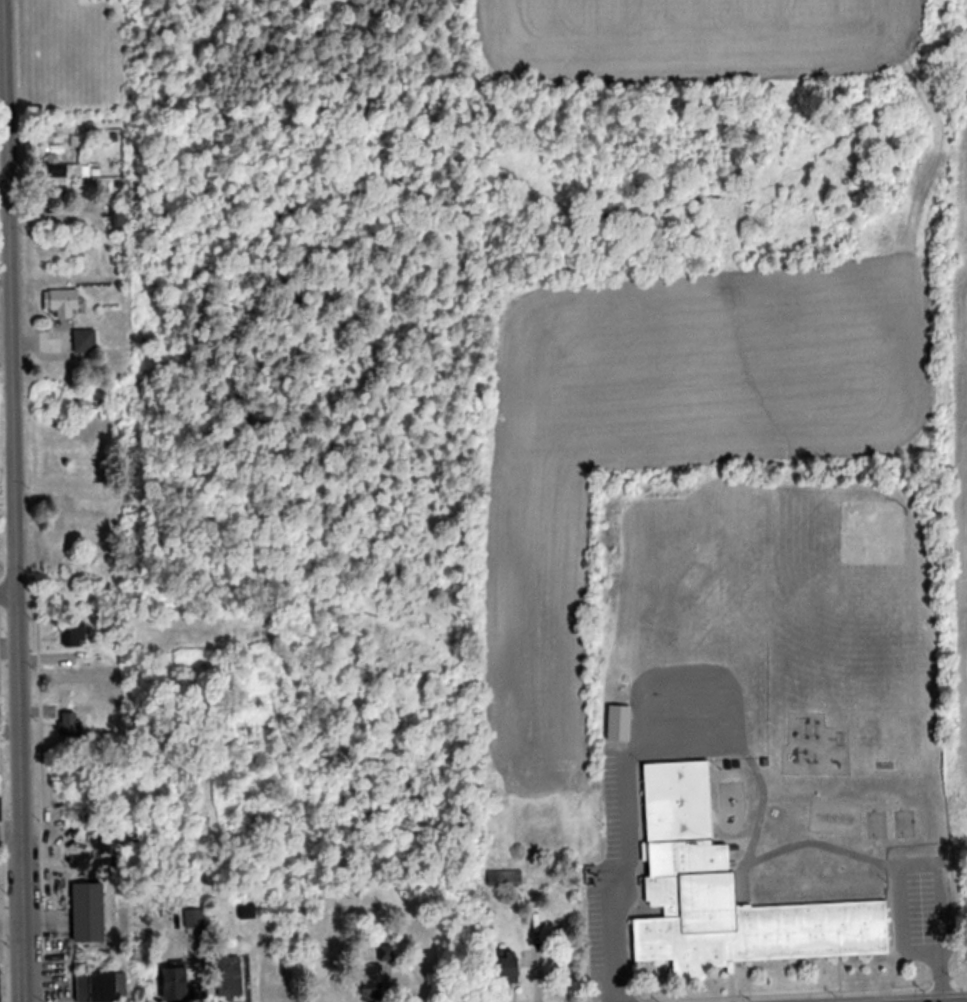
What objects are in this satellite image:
building: (63, 171)
building: (118, 222)
building: (63, 303)
building: (86, 341)
road: (14, 500)
building: (61, 531)
road: (7, 597)
building: (75, 636)
building: (71, 724)
building: (620, 724)
building: (0, 814)
building: (905, 824)
building: (877, 825)
building: (505, 879)
building: (729, 895)
building: (248, 912)
building: (195, 919)
building: (387, 954)
building: (507, 968)
building: (231, 978)
building: (373, 983)
building: (176, 985)
building: (103, 987)
building: (0, 996)
road: (955, 1001)

